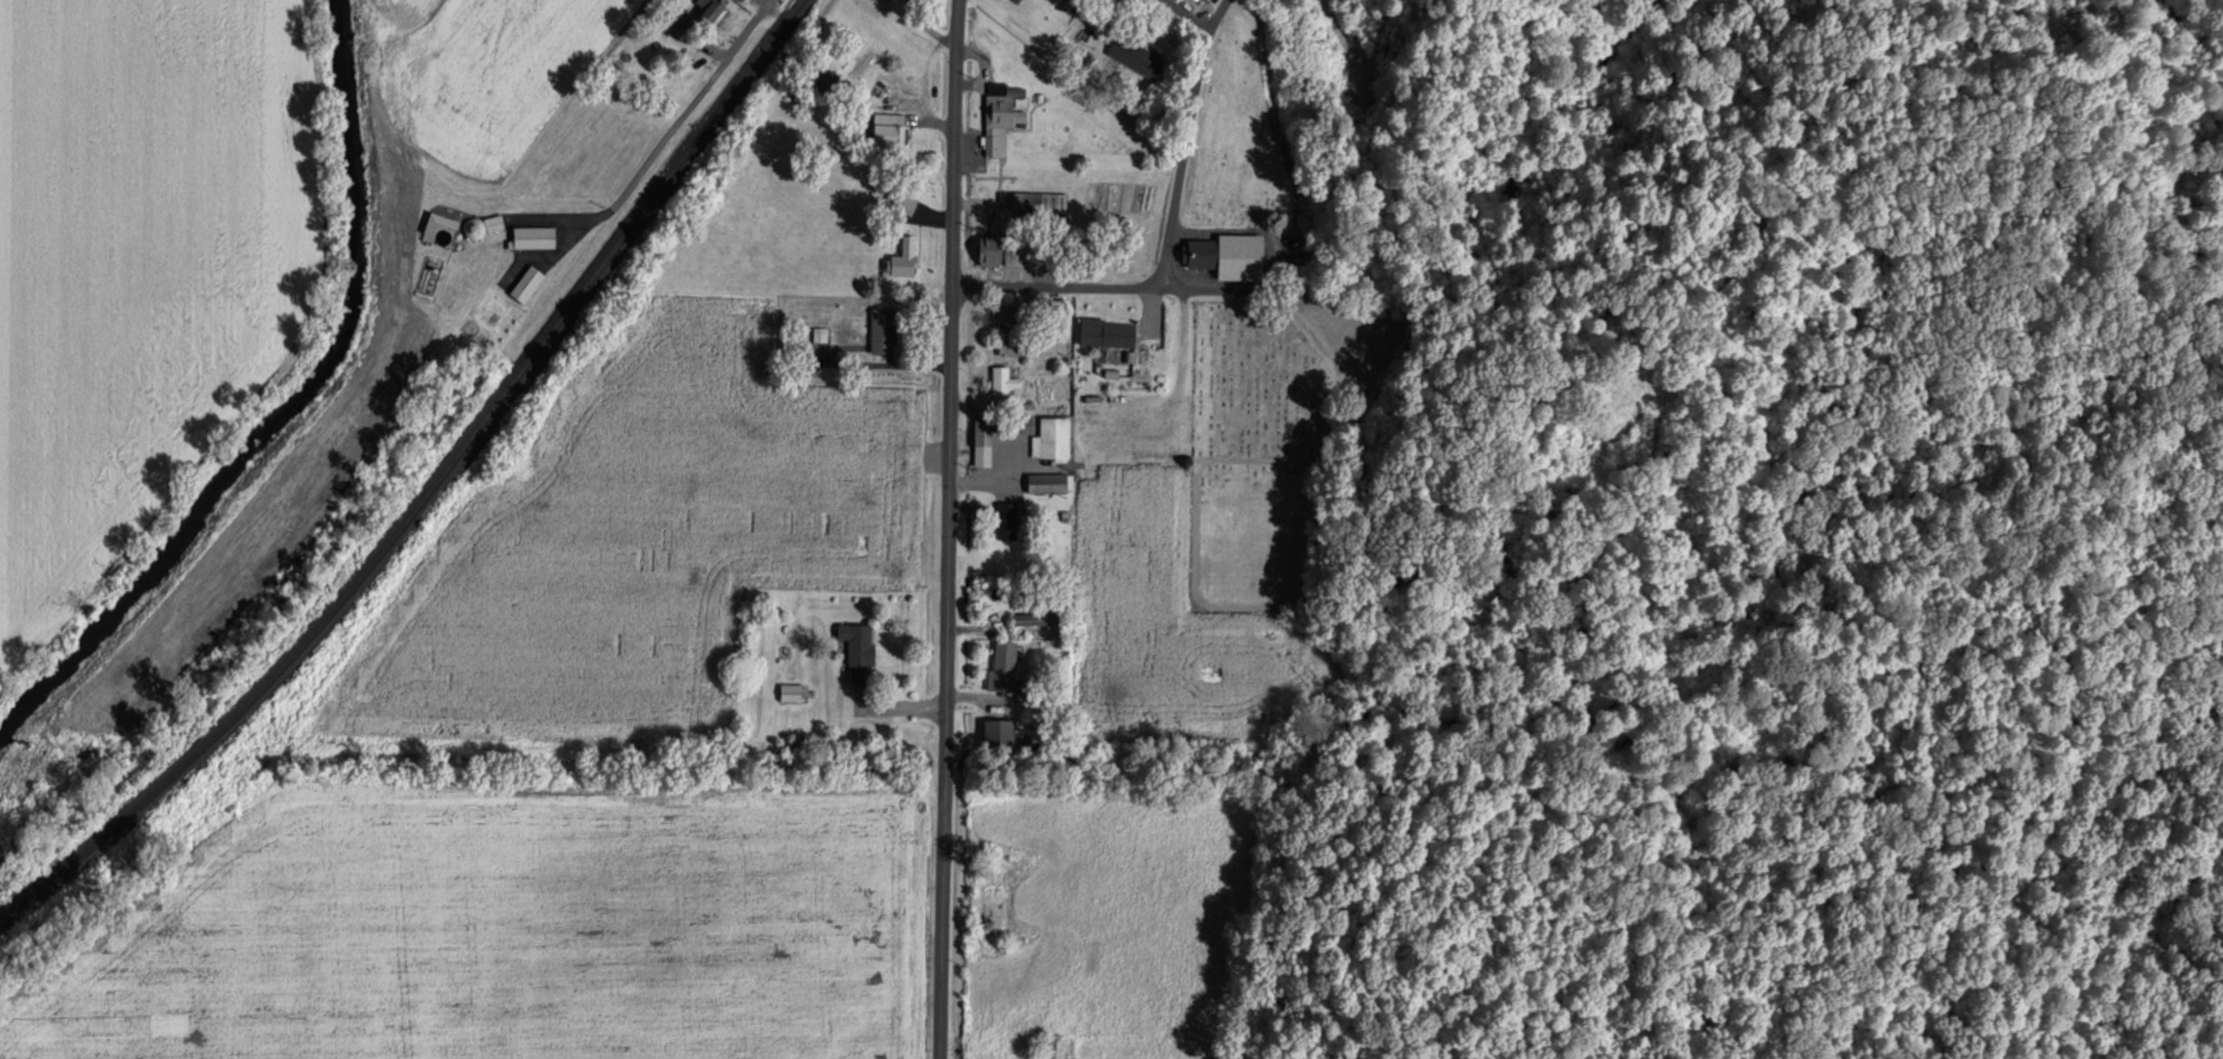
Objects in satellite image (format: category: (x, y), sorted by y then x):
building: (889, 0)
building: (1078, 3)
building: (709, 9)
road: (1187, 14)
building: (1081, 32)
building: (1137, 55)
building: (827, 77)
building: (882, 85)
building: (1000, 116)
building: (889, 128)
park: (1243, 130)
road: (1185, 139)
road: (954, 143)
road: (648, 160)
building: (904, 201)
building: (1039, 201)
park: (1755, 217)
building: (493, 222)
building: (534, 236)
building: (989, 248)
building: (1229, 254)
building: (904, 257)
building: (526, 282)
road: (1171, 284)
building: (883, 329)
building: (1010, 329)
building: (820, 334)
building: (1107, 334)
building: (1004, 379)
park: (1627, 389)
building: (1021, 417)
building: (1052, 438)
building: (982, 440)
park: (1258, 458)
building: (1050, 481)
railway: (431, 488)
building: (1006, 520)
building: (1031, 619)
building: (859, 650)
building: (1003, 666)
road: (947, 673)
building: (790, 691)
building: (1269, 703)
road: (885, 705)
building: (998, 732)
building: (1052, 1048)

